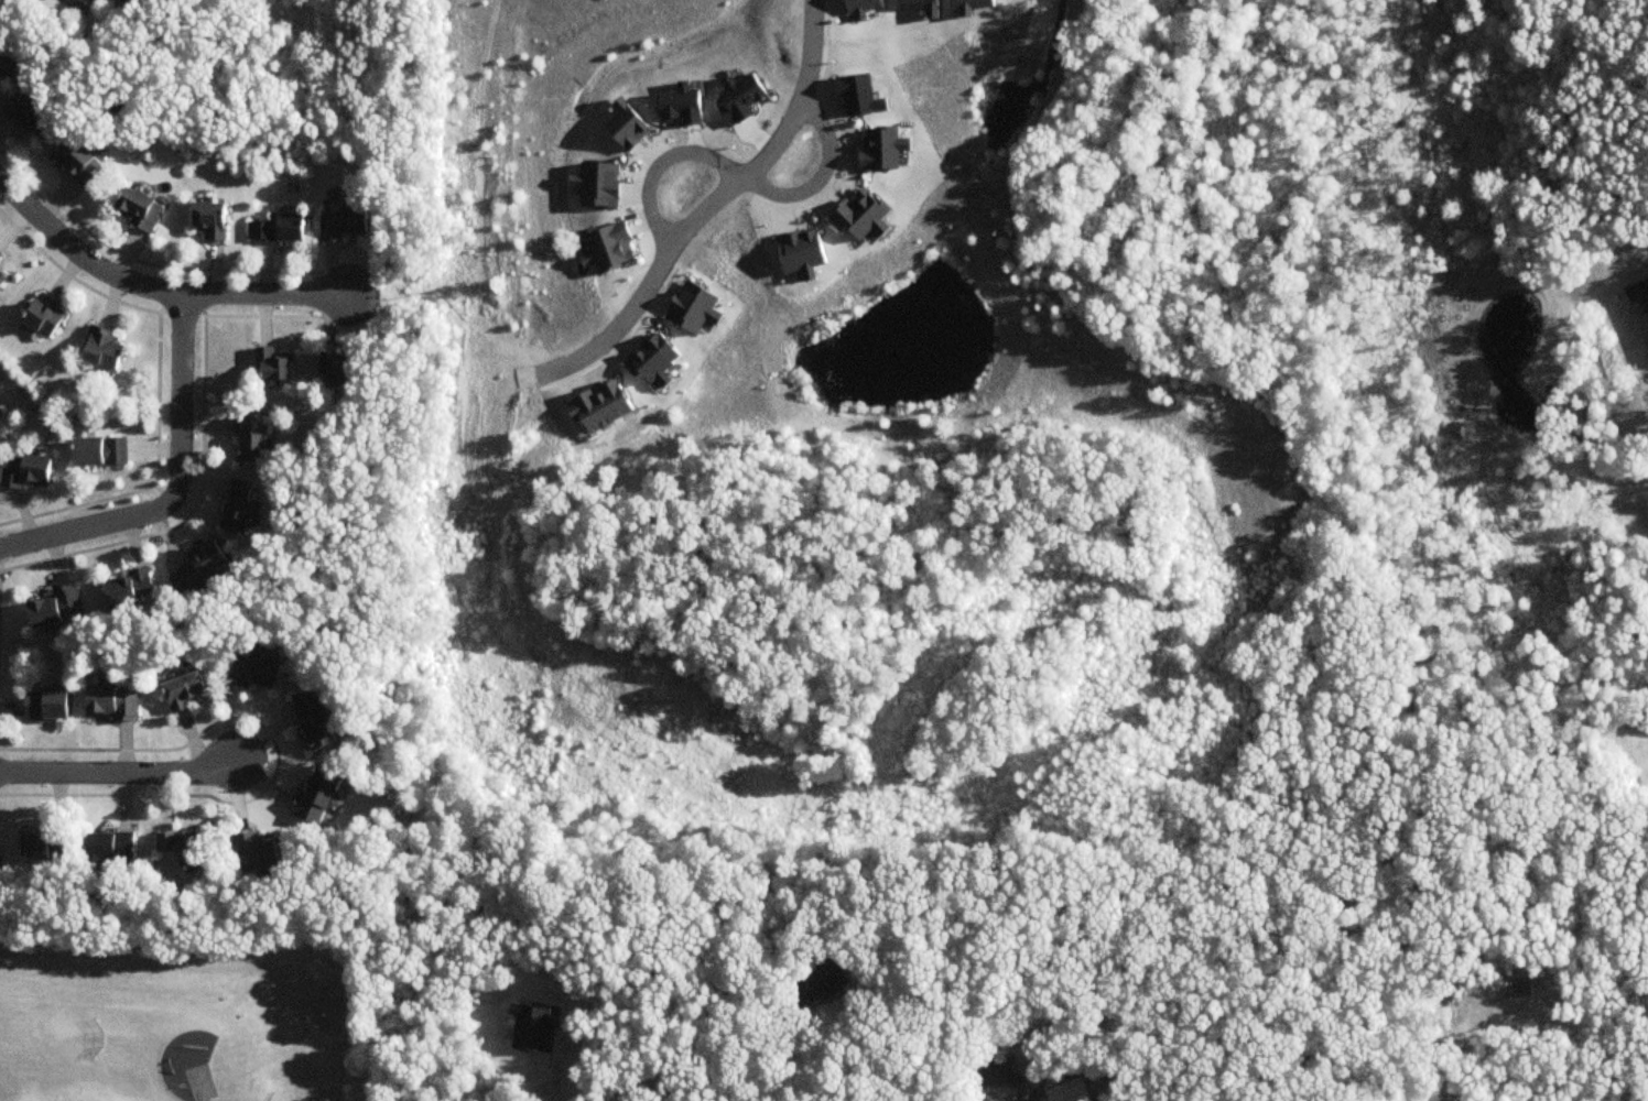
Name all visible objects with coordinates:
building: (126, 1)
building: (1, 73)
building: (28, 117)
building: (76, 163)
road: (659, 166)
road: (824, 176)
building: (135, 209)
building: (208, 220)
building: (341, 224)
building: (278, 229)
building: (1, 259)
building: (4, 281)
road: (160, 288)
building: (1639, 307)
building: (48, 317)
building: (108, 350)
road: (577, 361)
building: (273, 364)
building: (338, 370)
building: (1, 422)
building: (246, 439)
building: (104, 453)
building: (32, 472)
road: (178, 487)
building: (235, 508)
building: (197, 570)
building: (129, 589)
building: (55, 608)
building: (252, 673)
building: (183, 693)
building: (111, 704)
building: (47, 705)
building: (312, 720)
road: (121, 772)
building: (314, 797)
building: (42, 846)
building: (110, 847)
building: (184, 848)
building: (256, 852)
building: (816, 986)
road: (785, 1061)
building: (998, 1079)
park: (202, 1083)
road: (543, 1087)
road: (207, 1100)

